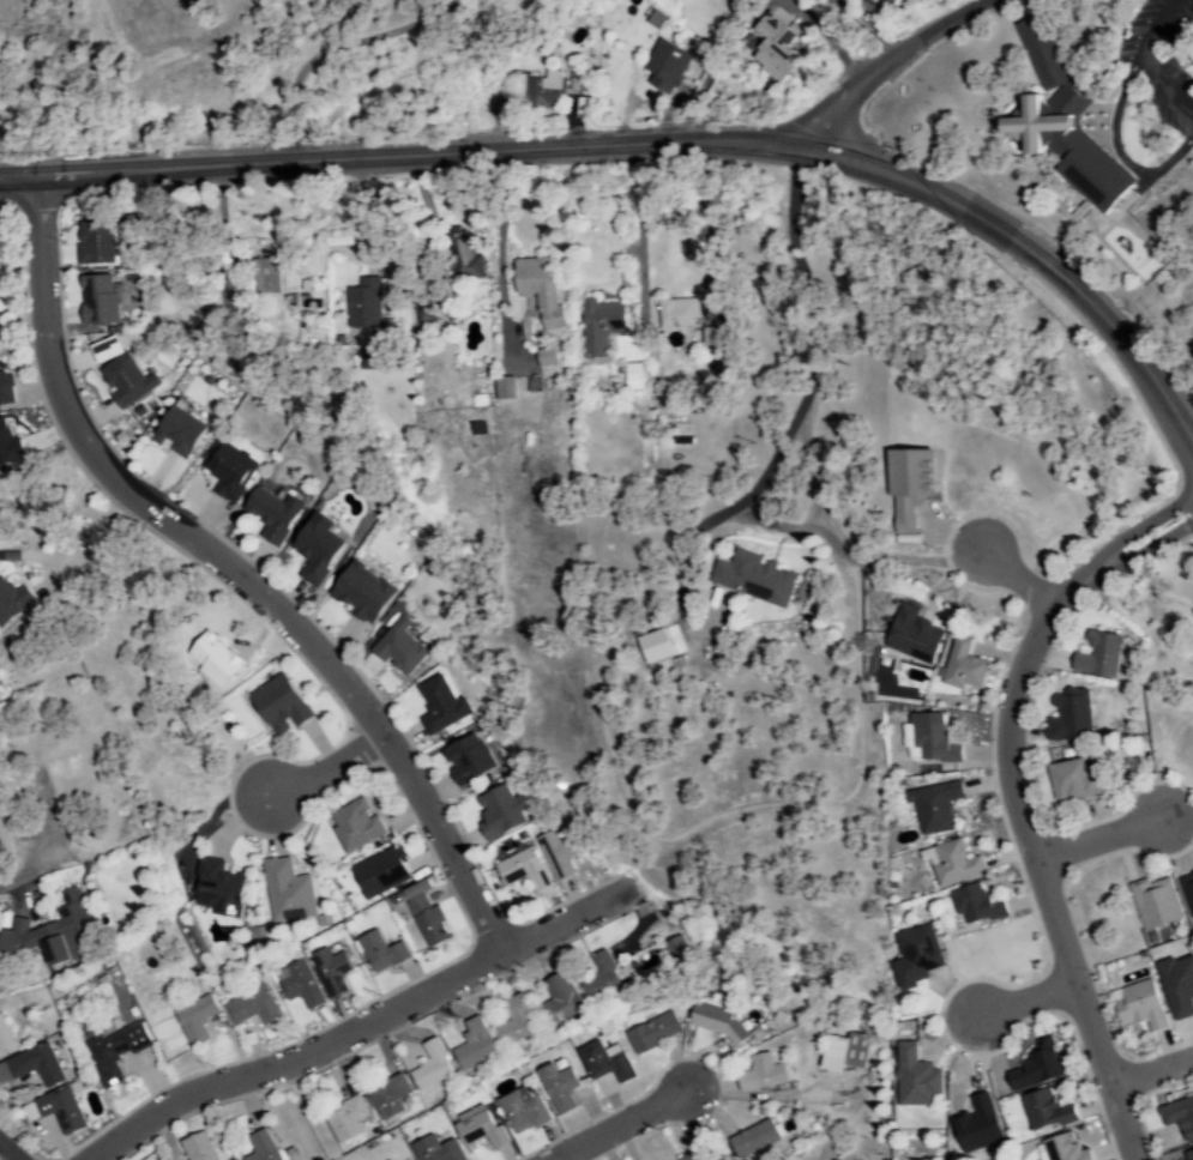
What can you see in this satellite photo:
building: (875, 2)
building: (771, 47)
road: (343, 54)
road: (892, 59)
building: (663, 66)
building: (574, 83)
building: (541, 91)
building: (1059, 123)
road: (651, 140)
building: (92, 243)
building: (464, 260)
building: (263, 277)
building: (537, 290)
building: (97, 301)
building: (364, 303)
building: (675, 314)
building: (598, 327)
building: (711, 338)
building: (628, 349)
road: (801, 354)
building: (544, 358)
building: (631, 377)
building: (125, 381)
building: (501, 388)
building: (5, 391)
building: (175, 434)
building: (6, 443)
building: (227, 473)
building: (905, 487)
building: (270, 515)
building: (314, 549)
road: (234, 568)
building: (751, 579)
road: (1020, 581)
building: (358, 594)
building: (911, 636)
building: (1097, 657)
building: (962, 667)
building: (277, 706)
building: (440, 707)
building: (1070, 717)
building: (927, 741)
building: (48, 747)
building: (465, 760)
road: (325, 769)
building: (1071, 781)
road: (1017, 804)
building: (933, 806)
building: (498, 811)
building: (353, 826)
road: (1098, 840)
building: (554, 856)
building: (952, 865)
building: (520, 870)
road: (29, 871)
building: (378, 875)
building: (217, 889)
building: (285, 893)
building: (1187, 894)
building: (972, 905)
building: (1153, 905)
building: (422, 916)
building: (49, 934)
building: (677, 950)
building: (379, 953)
building: (914, 957)
building: (330, 972)
building: (598, 980)
building: (297, 985)
building: (558, 1001)
road: (1029, 1003)
building: (249, 1008)
building: (193, 1021)
building: (716, 1021)
building: (514, 1022)
road: (356, 1029)
building: (651, 1033)
building: (5, 1043)
building: (472, 1046)
building: (113, 1053)
building: (843, 1053)
building: (603, 1062)
building: (31, 1068)
building: (429, 1068)
building: (1035, 1068)
building: (759, 1075)
road: (1152, 1075)
building: (912, 1079)
building: (556, 1087)
building: (387, 1098)
building: (54, 1111)
building: (520, 1111)
building: (1043, 1111)
building: (1179, 1117)
building: (345, 1120)
road: (639, 1120)
building: (477, 1130)
building: (752, 1141)
building: (260, 1147)
building: (197, 1148)
building: (1058, 1149)
building: (435, 1150)
road: (6, 1154)
building: (1187, 1155)
building: (689, 1156)
building: (716, 1158)

